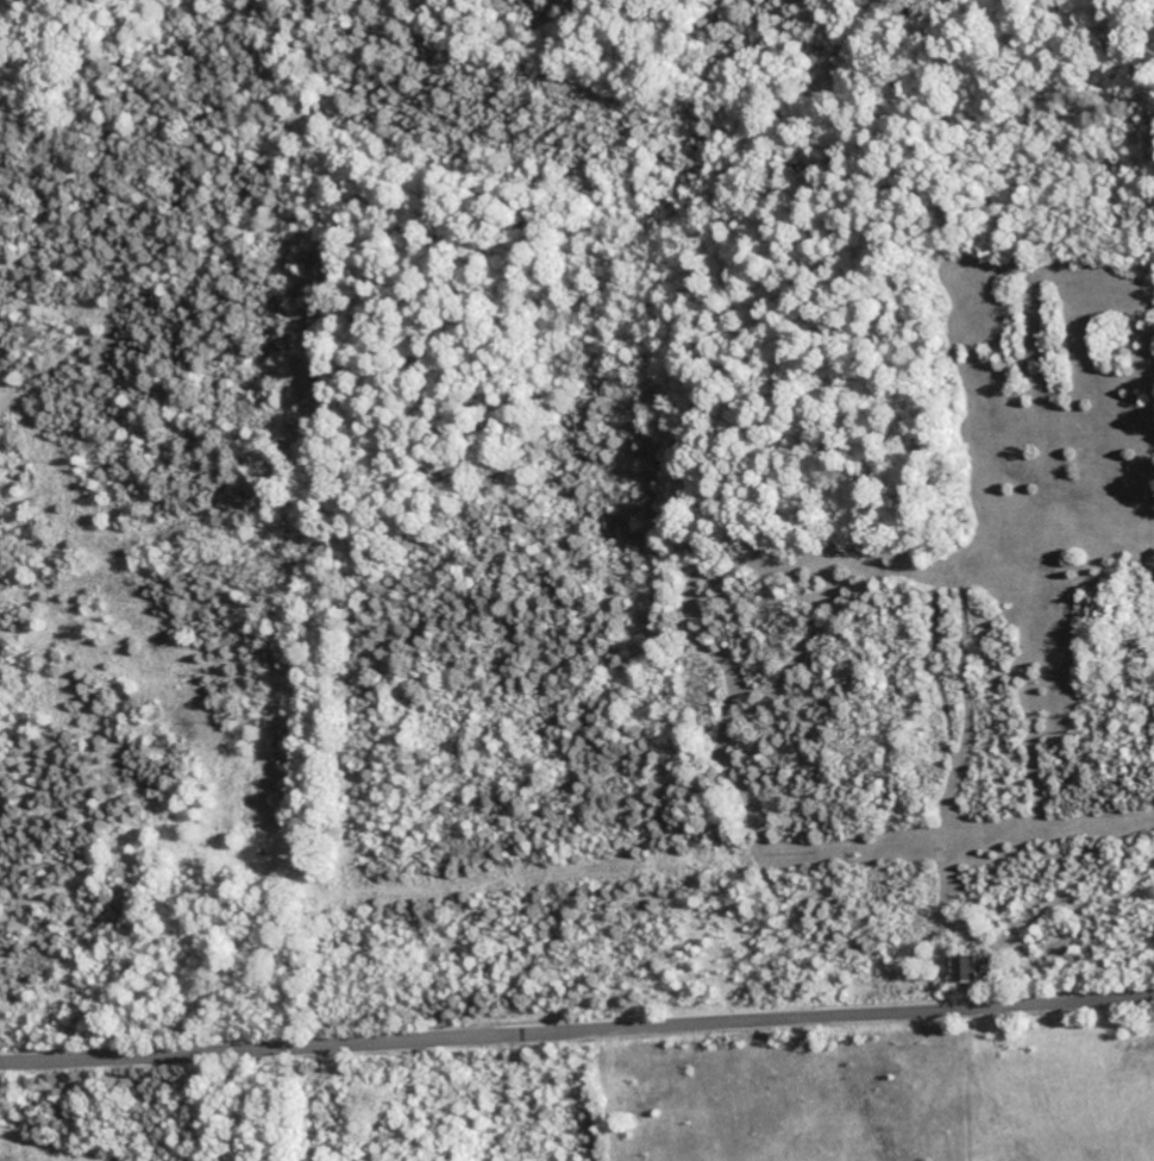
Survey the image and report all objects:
road: (577, 1035)

